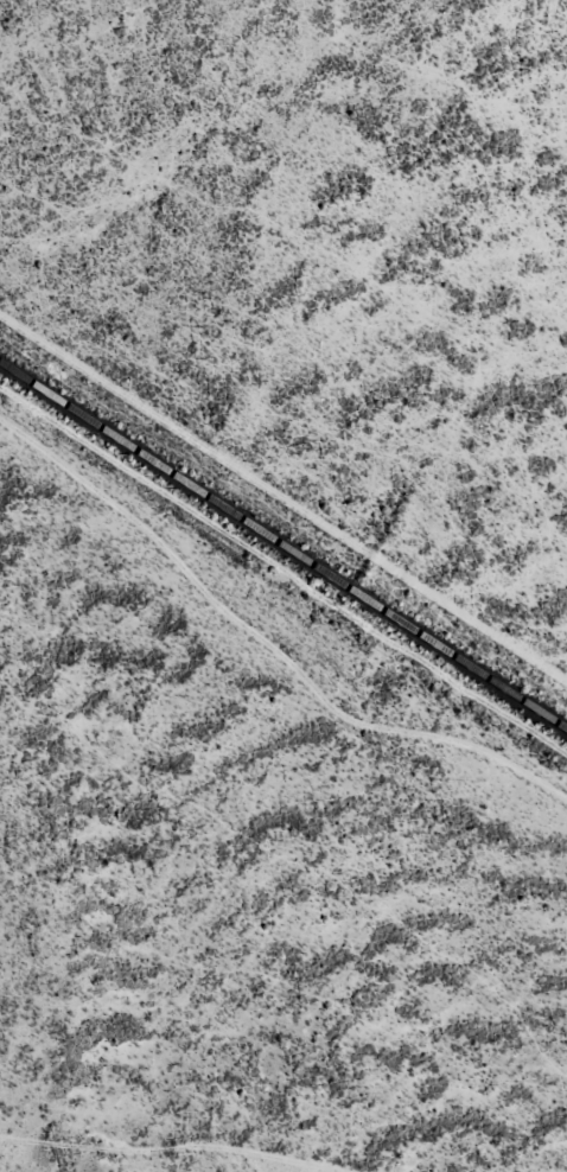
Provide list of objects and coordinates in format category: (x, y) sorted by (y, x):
railway: (283, 543)
road: (283, 626)

